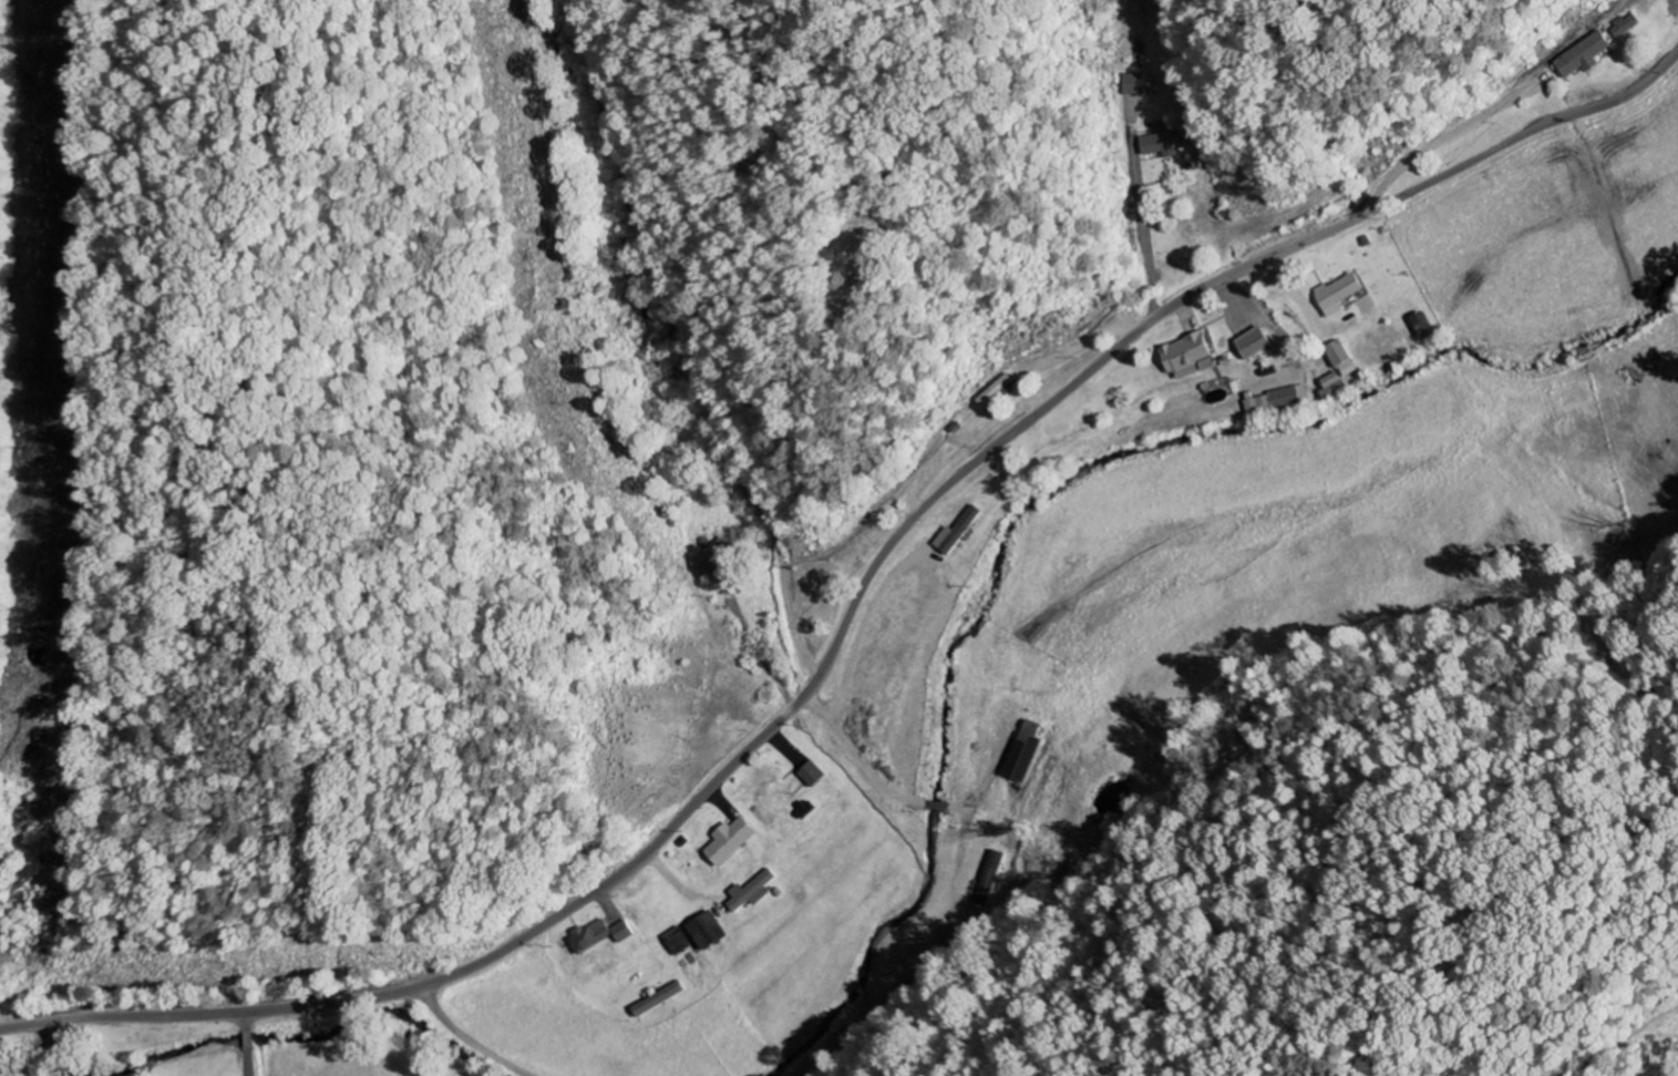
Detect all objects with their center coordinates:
building: (1627, 24)
building: (1588, 54)
road: (789, 83)
building: (1135, 84)
building: (1165, 143)
building: (1341, 294)
building: (1262, 342)
road: (689, 347)
building: (1346, 359)
building: (1336, 386)
building: (1278, 400)
building: (960, 532)
building: (718, 555)
road: (854, 607)
building: (1025, 752)
building: (816, 775)
building: (733, 841)
building: (754, 891)
building: (625, 931)
building: (710, 932)
building: (591, 936)
building: (661, 1000)
road: (467, 1038)
road: (247, 1043)

